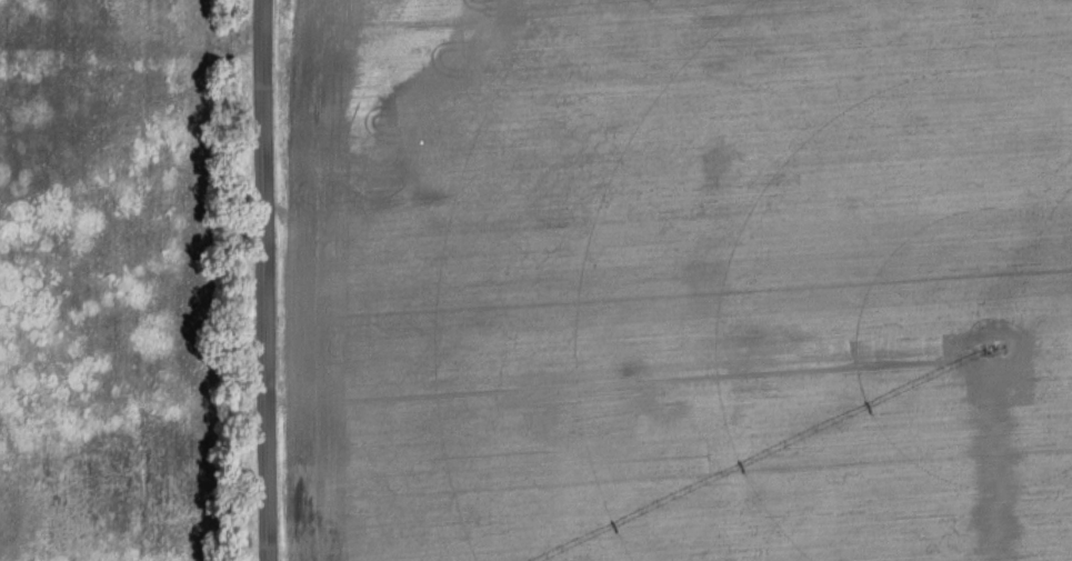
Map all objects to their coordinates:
road: (275, 280)

